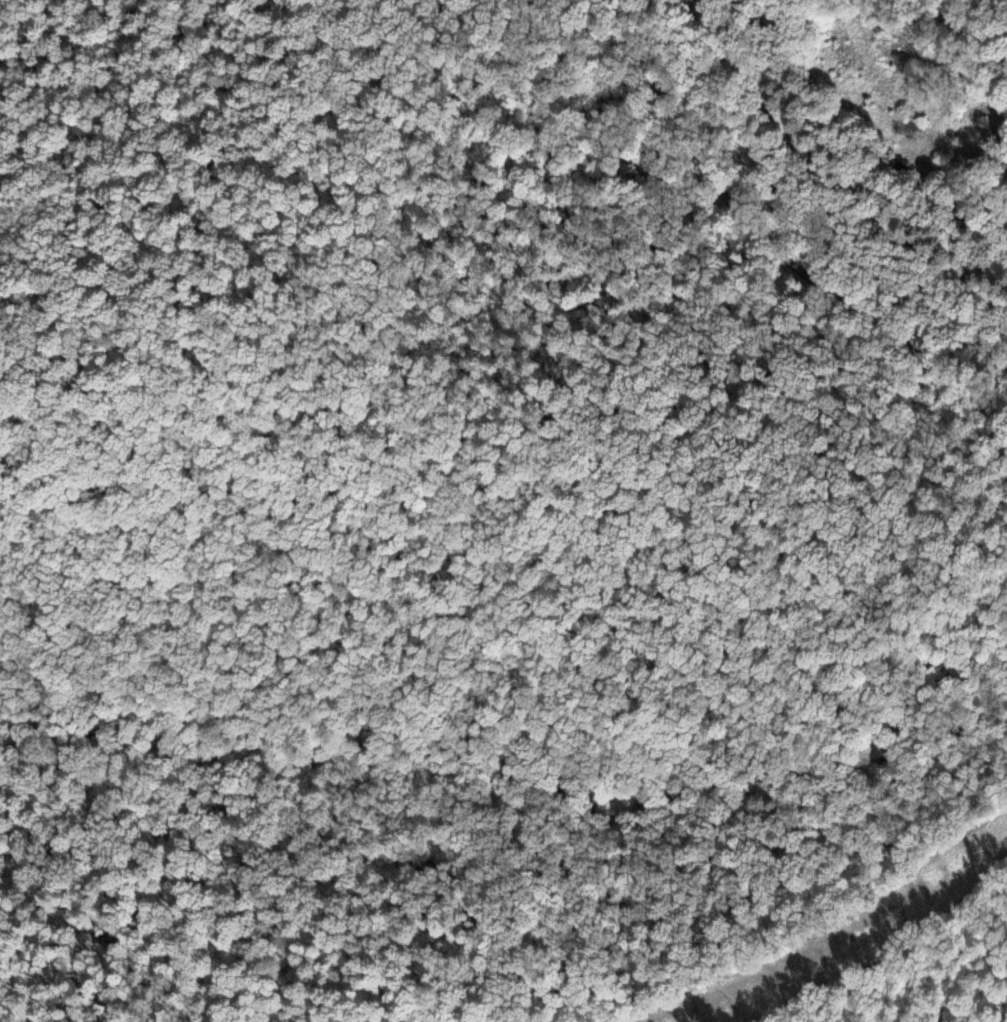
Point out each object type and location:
road: (769, 249)

